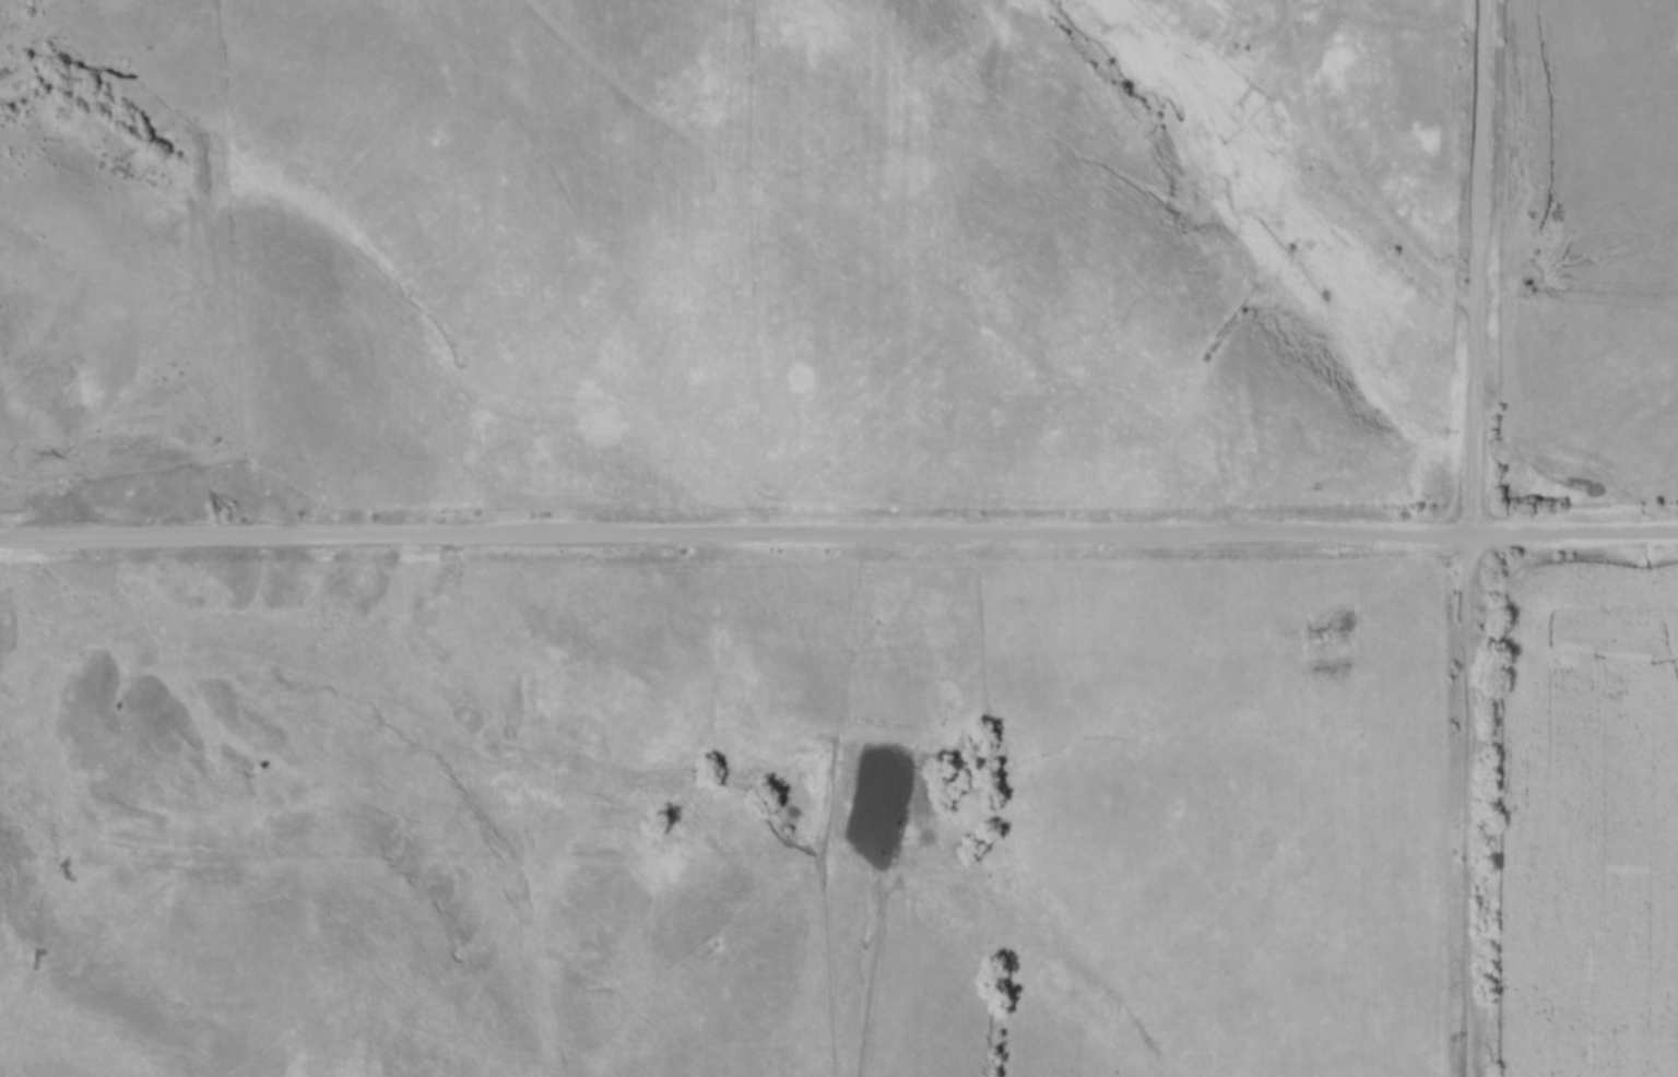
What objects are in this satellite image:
road: (1479, 270)
road: (839, 542)
road: (1472, 808)
crop: (1593, 824)

